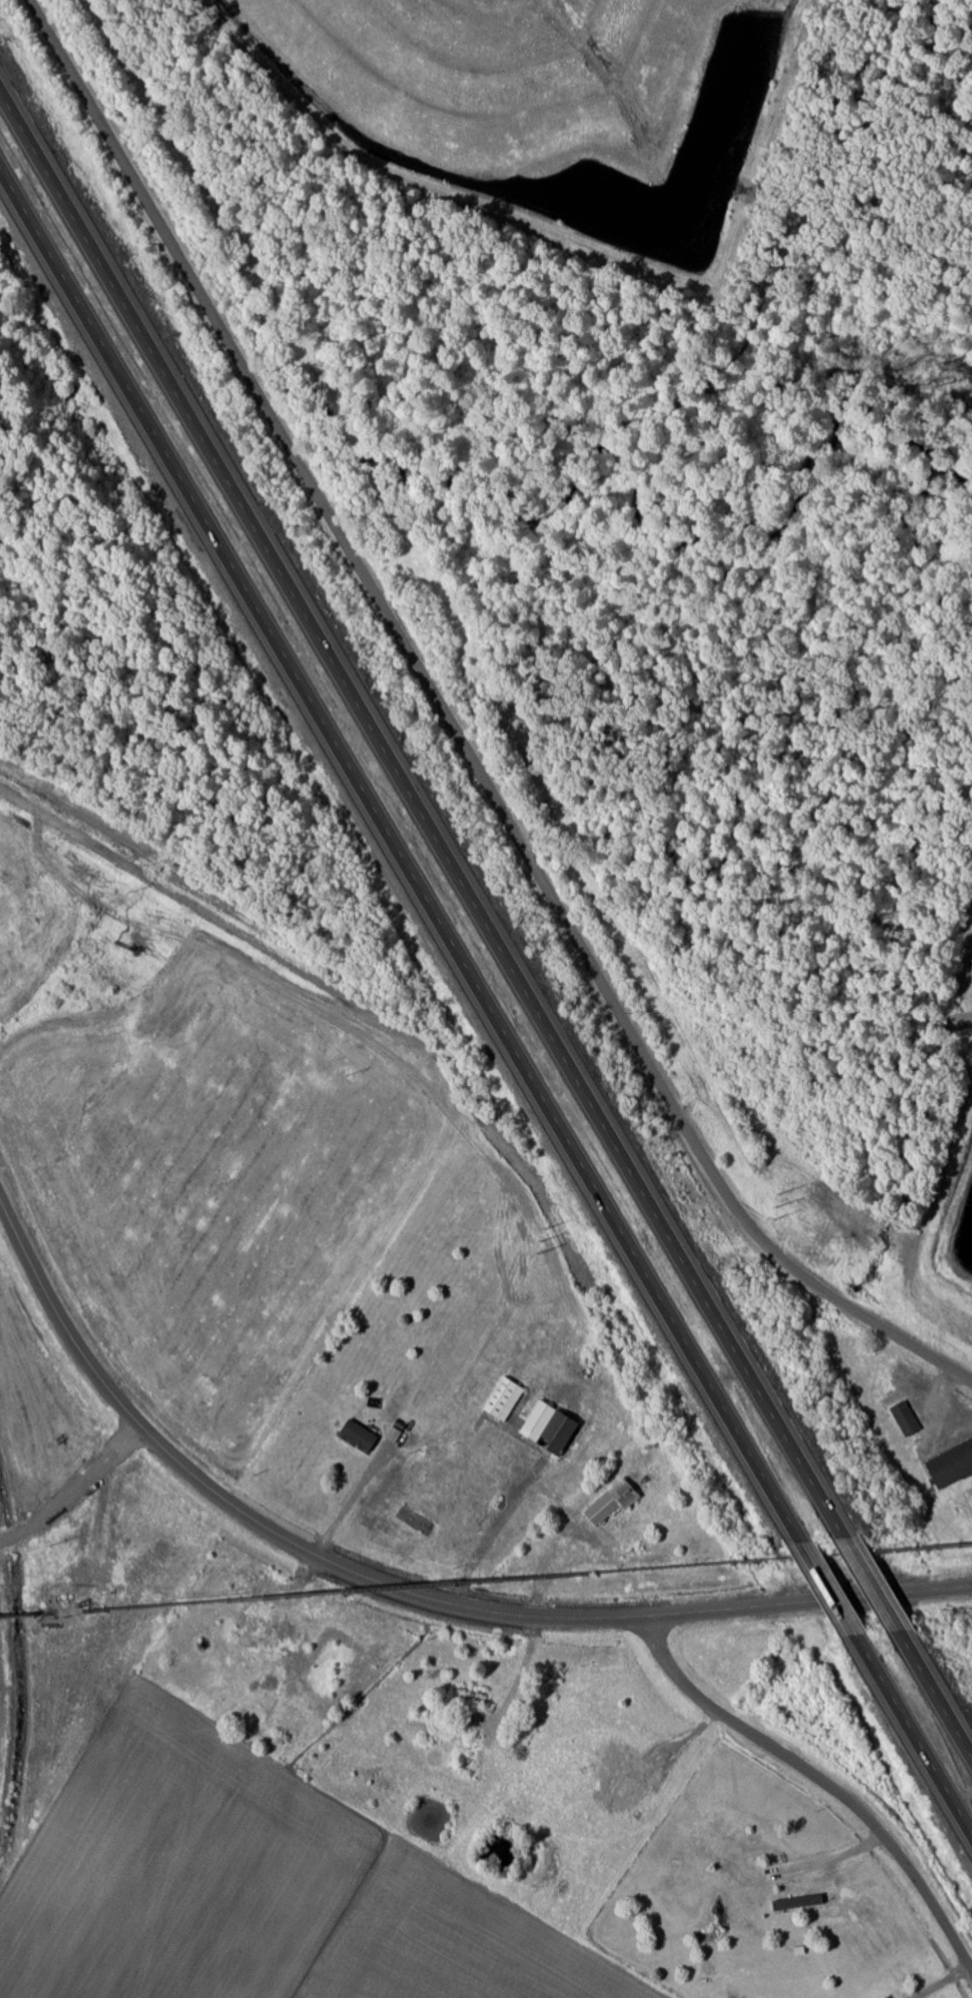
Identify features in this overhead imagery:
quarry: (605, 35)
road: (954, 98)
road: (455, 731)
road: (423, 814)
road: (399, 859)
building: (504, 1400)
building: (904, 1419)
building: (538, 1421)
building: (557, 1433)
building: (358, 1436)
building: (396, 1436)
building: (411, 1440)
building: (951, 1465)
road: (359, 1490)
building: (968, 1498)
building: (613, 1501)
building: (650, 1560)
road: (546, 1580)
road: (871, 1585)
road: (400, 1589)
road: (829, 1590)
road: (289, 1601)
building: (248, 1620)
building: (287, 1630)
building: (276, 1645)
building: (300, 1666)
road: (521, 1675)
building: (294, 1689)
road: (935, 1692)
building: (470, 1695)
building: (244, 1713)
building: (417, 1723)
road: (914, 1736)
road: (673, 1747)
building: (478, 1759)
building: (627, 1764)
road: (821, 1780)
building: (799, 1904)
building: (799, 1950)
building: (691, 1972)

